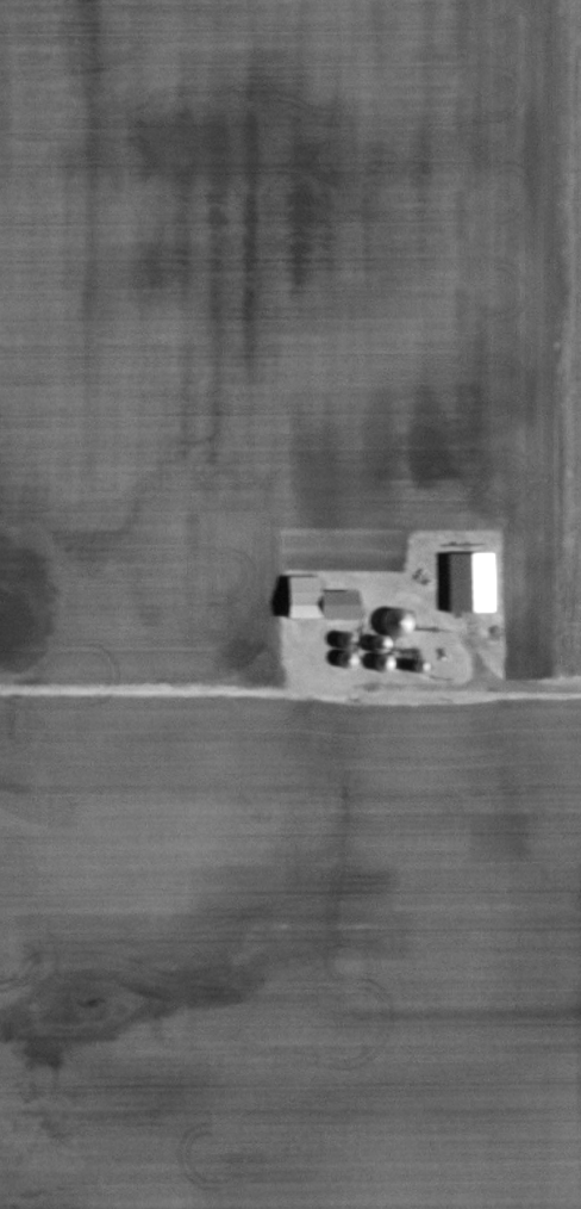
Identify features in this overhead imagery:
building: (466, 582)
building: (313, 600)
crop: (138, 632)
road: (523, 684)

